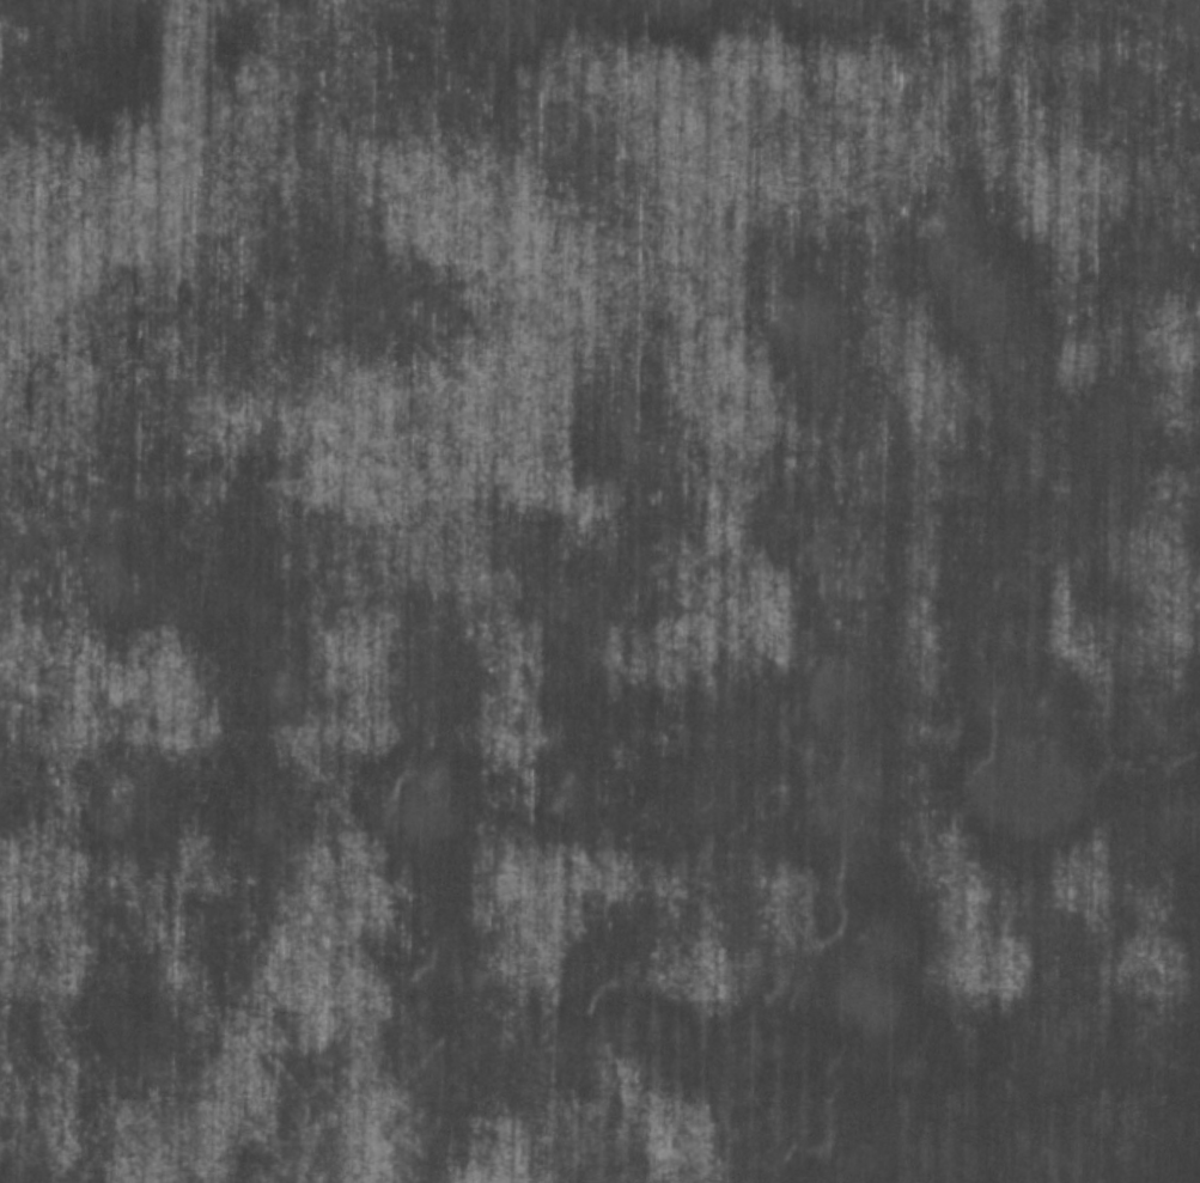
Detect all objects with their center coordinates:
crop: (599, 591)

